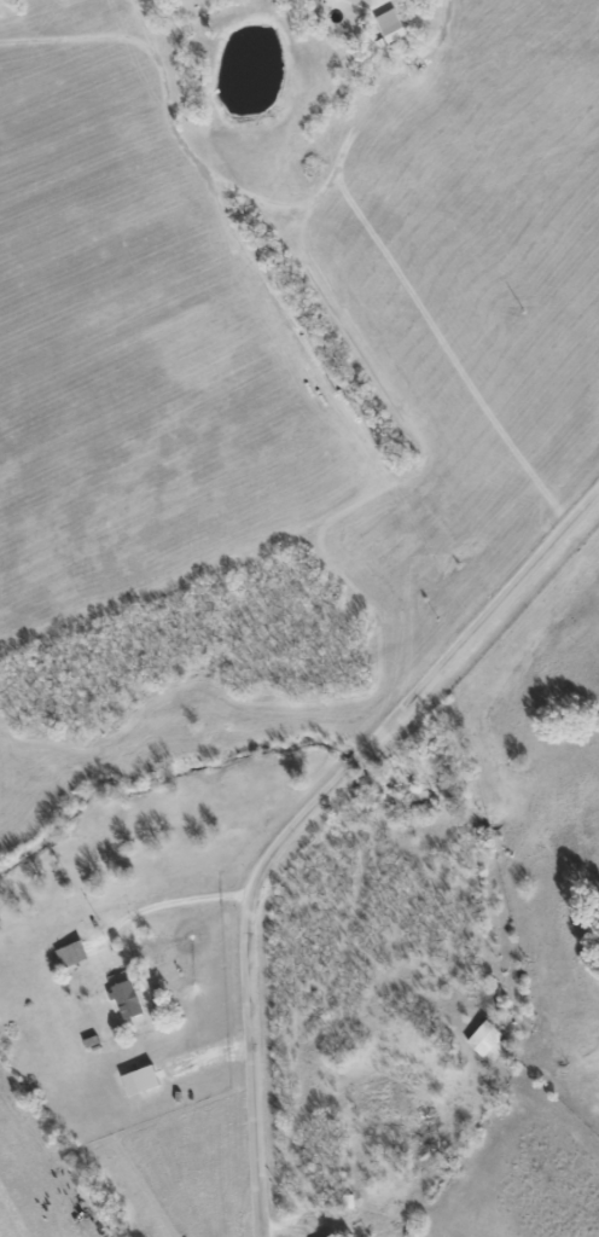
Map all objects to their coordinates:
building: (394, 25)
road: (307, 818)
road: (164, 907)
building: (128, 999)
building: (487, 1040)
building: (144, 1080)
building: (333, 1236)

